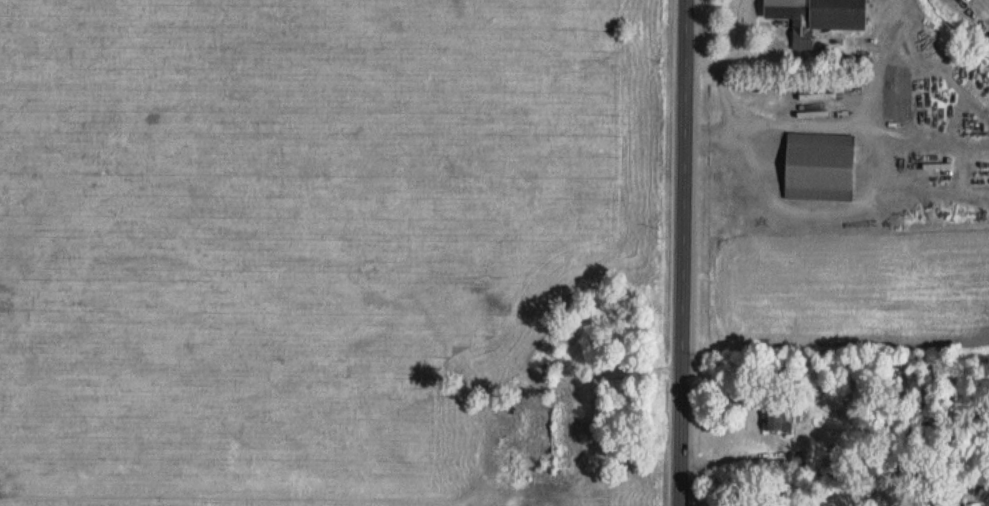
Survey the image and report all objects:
building: (798, 18)
road: (733, 47)
building: (819, 165)
road: (684, 252)
building: (777, 418)

